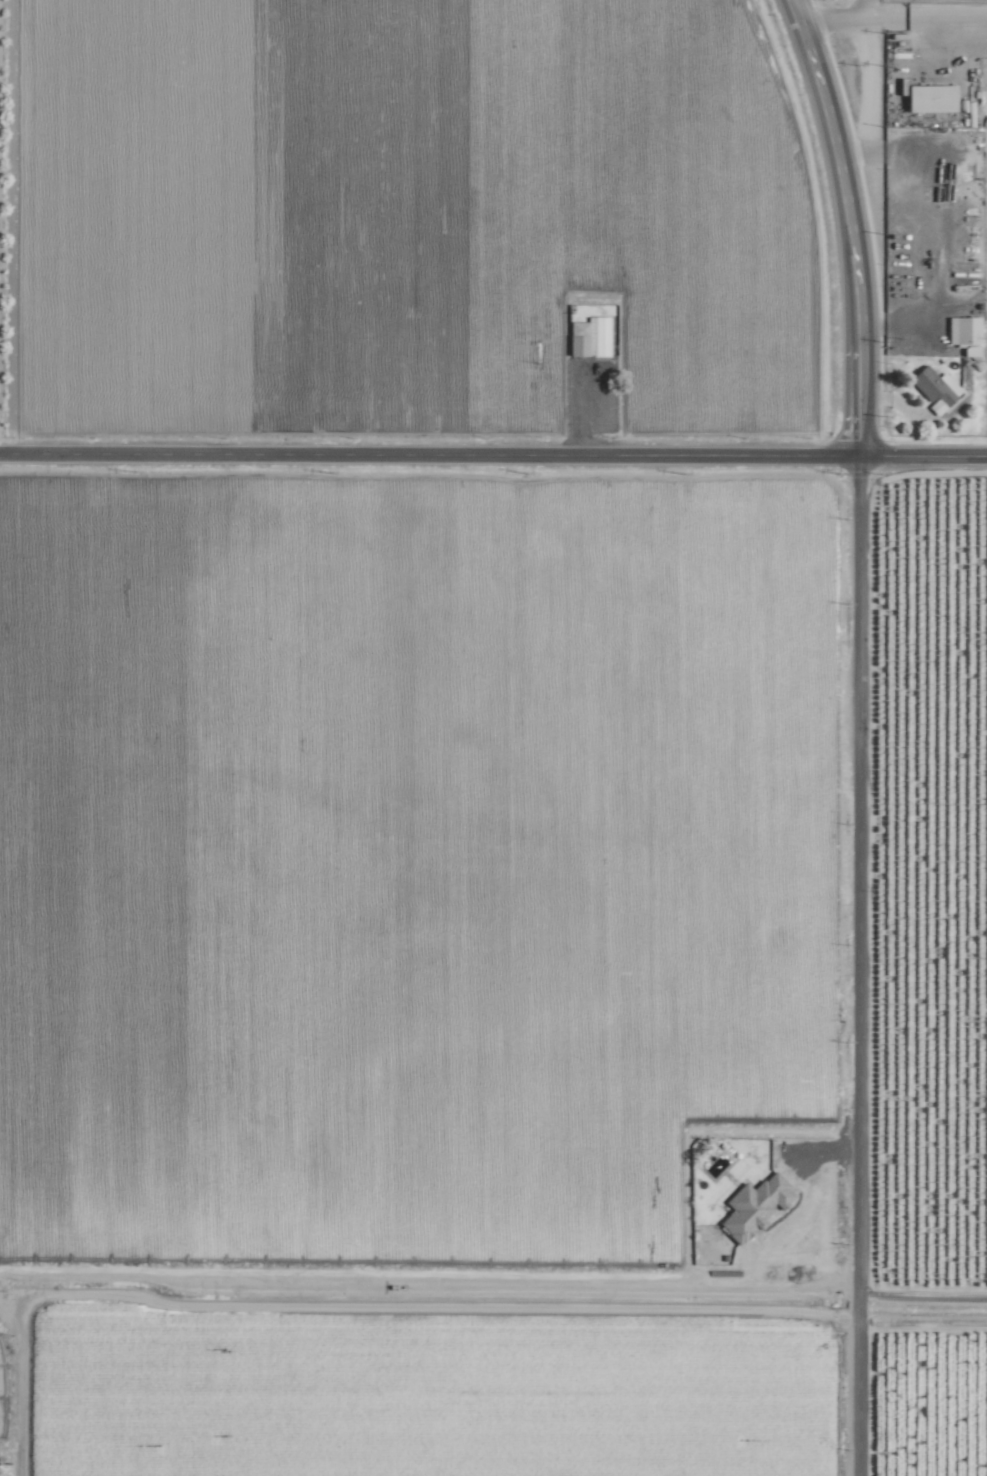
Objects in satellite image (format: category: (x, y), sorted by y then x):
road: (884, 16)
road: (866, 92)
building: (925, 98)
road: (831, 226)
building: (961, 333)
building: (588, 336)
building: (932, 388)
road: (417, 456)
road: (911, 459)
road: (849, 967)
building: (750, 1205)

